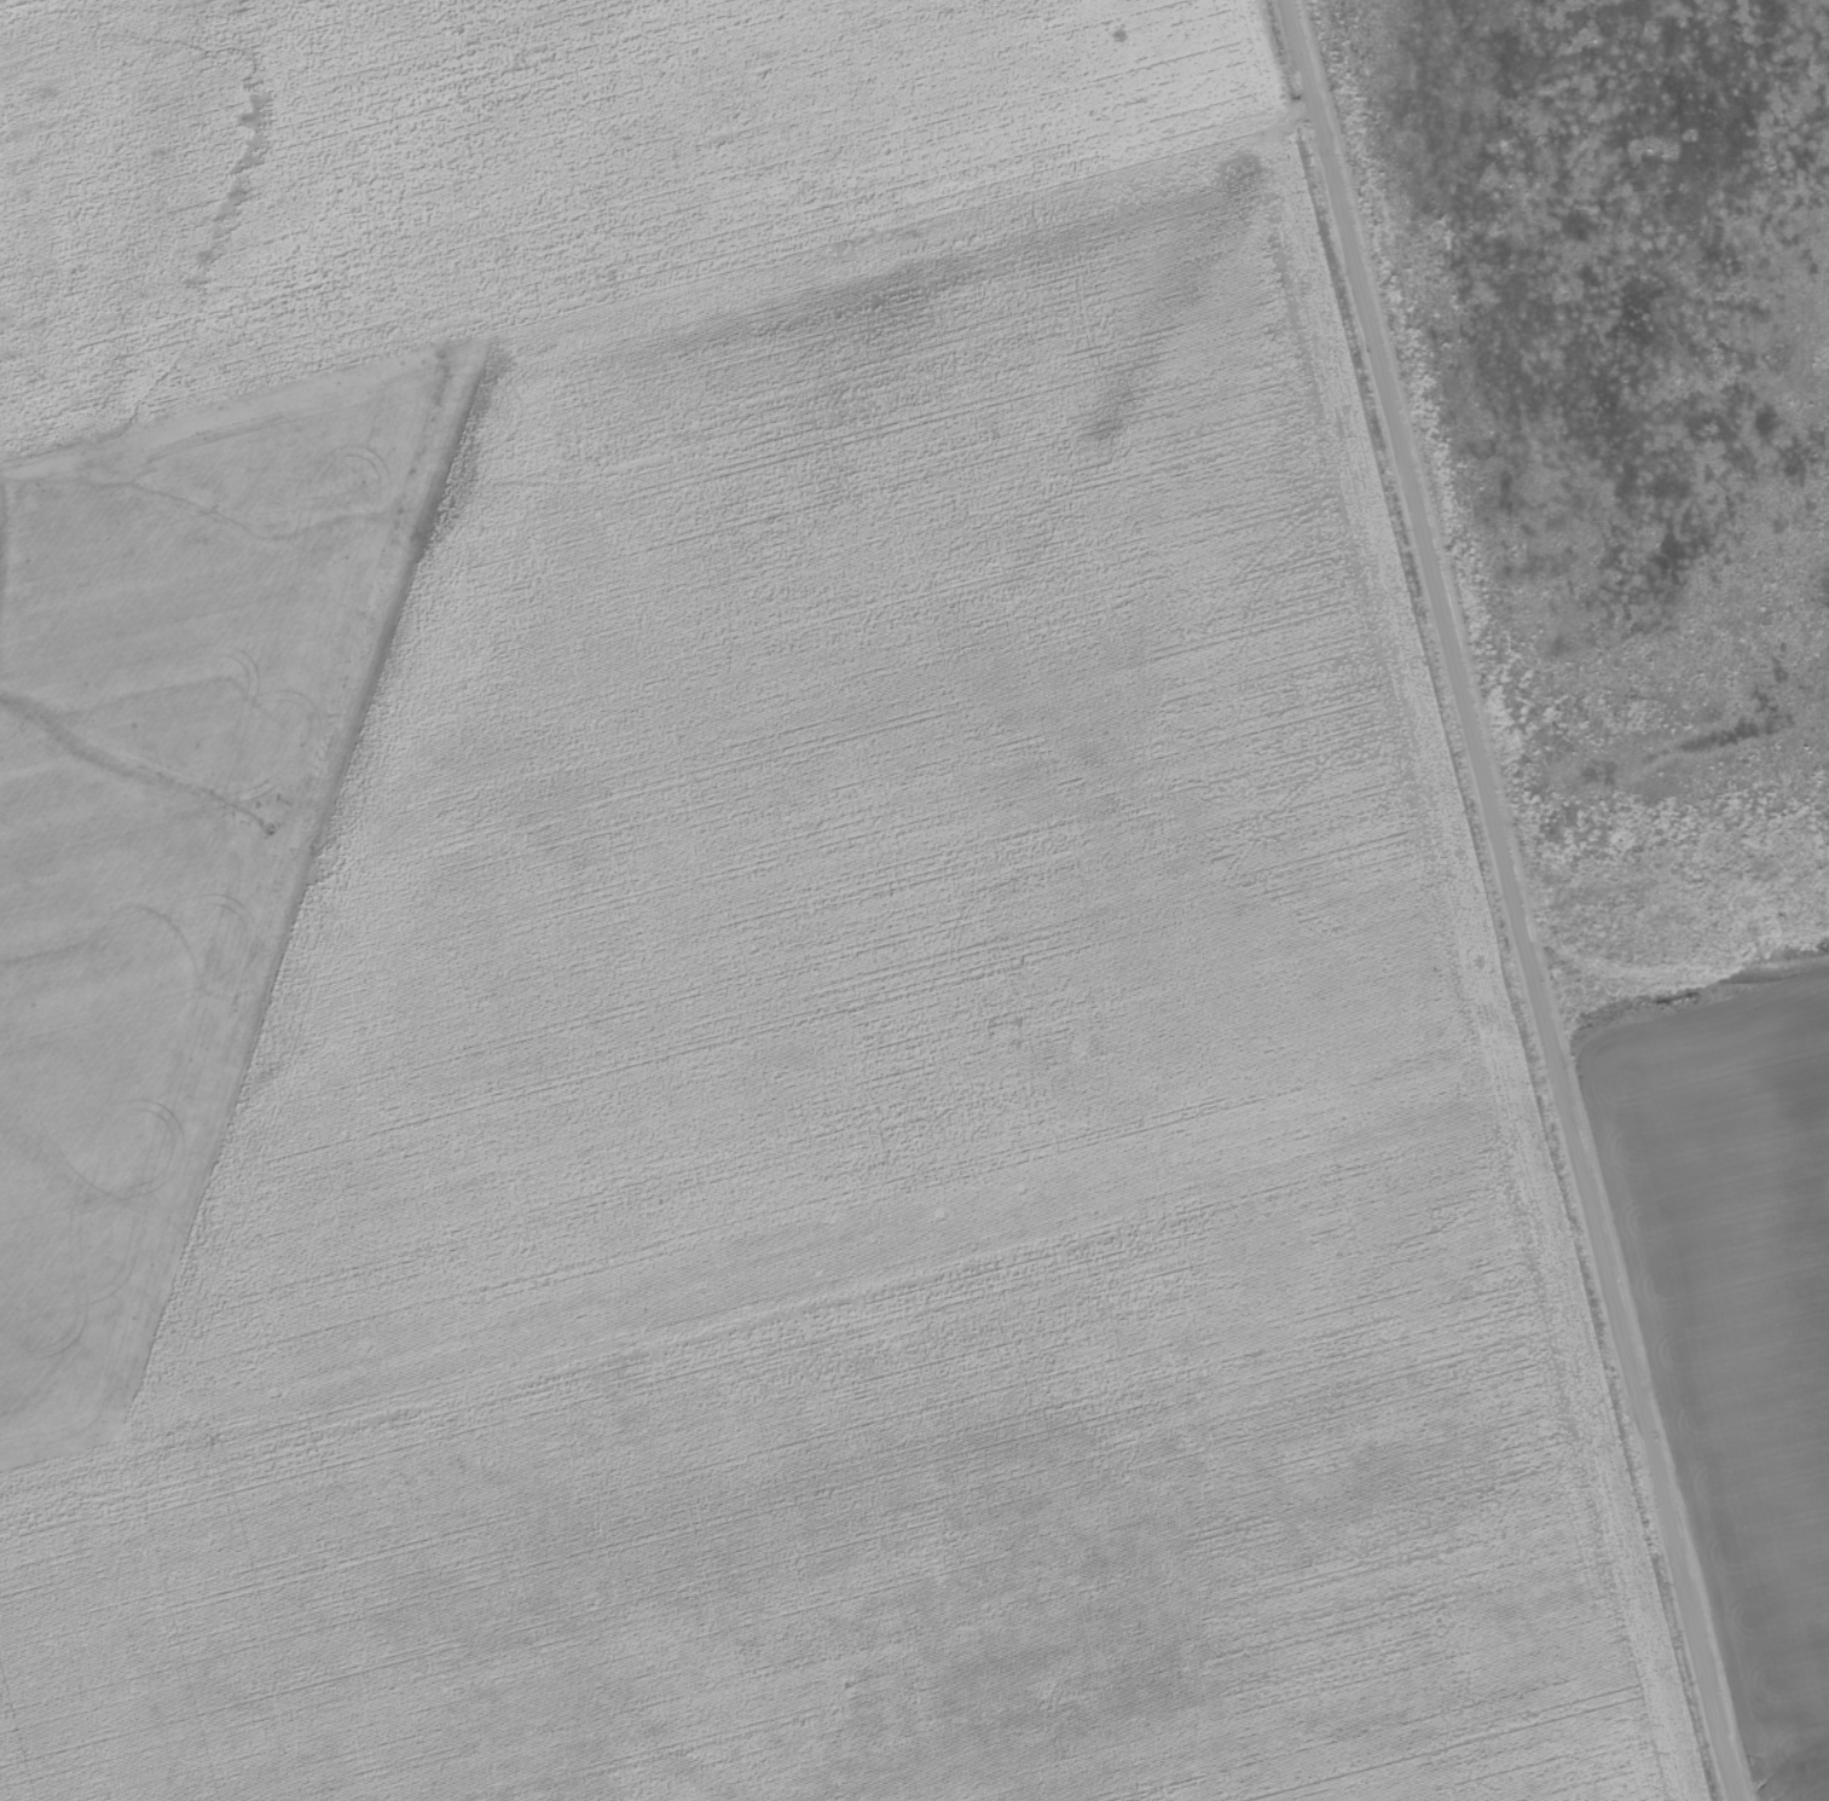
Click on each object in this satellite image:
road: (1523, 900)

